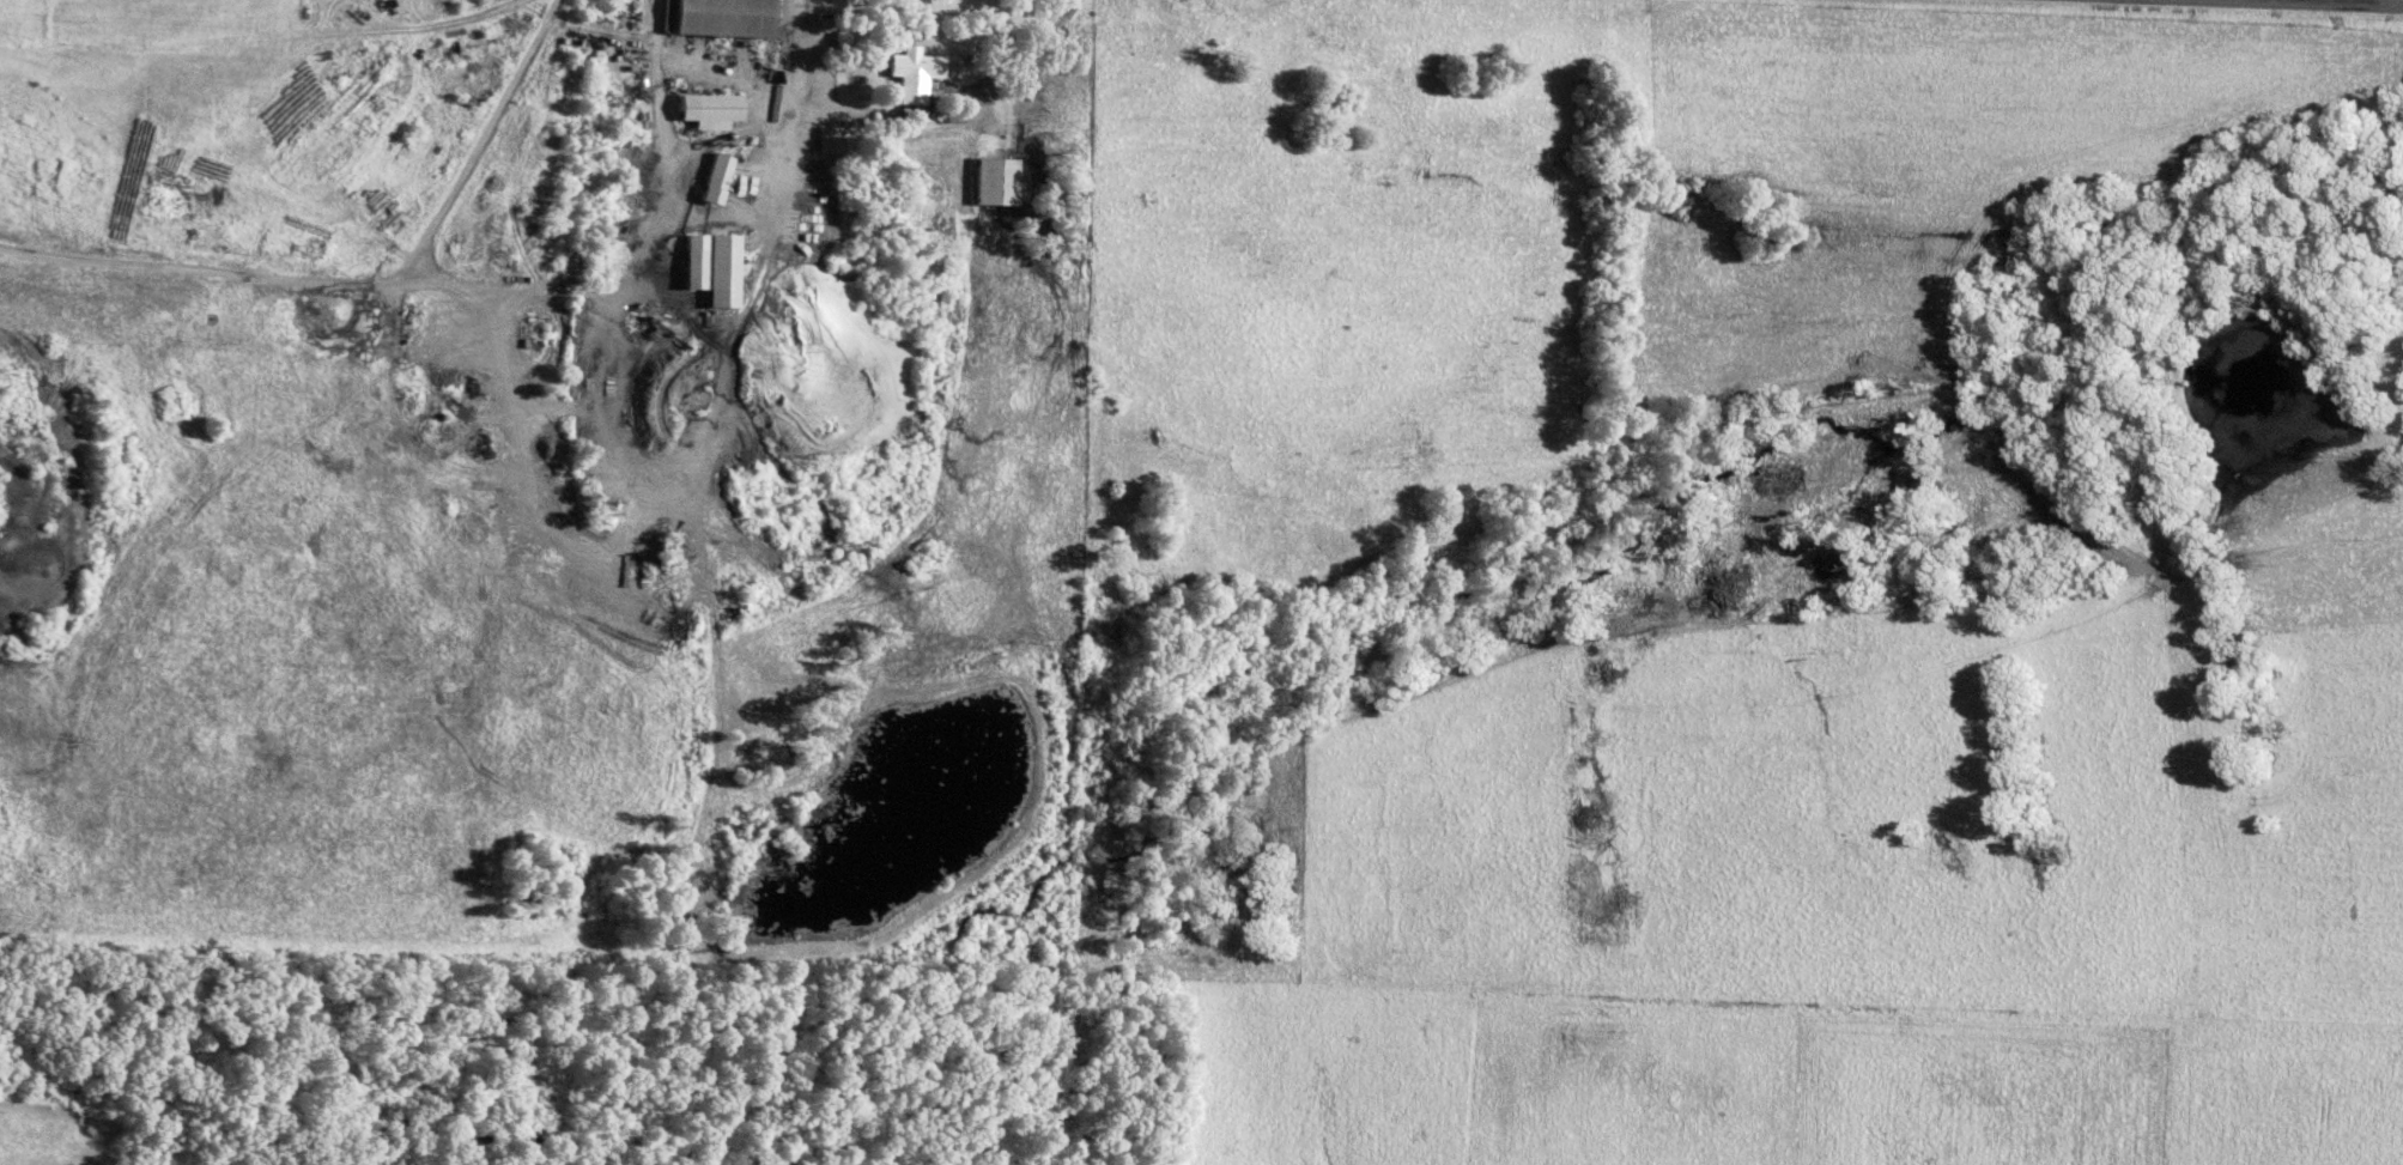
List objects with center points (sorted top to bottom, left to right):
road: (2354, 1)
building: (722, 16)
building: (914, 71)
building: (709, 107)
building: (835, 136)
building: (996, 178)
road: (718, 212)
building: (724, 267)
road: (352, 280)

